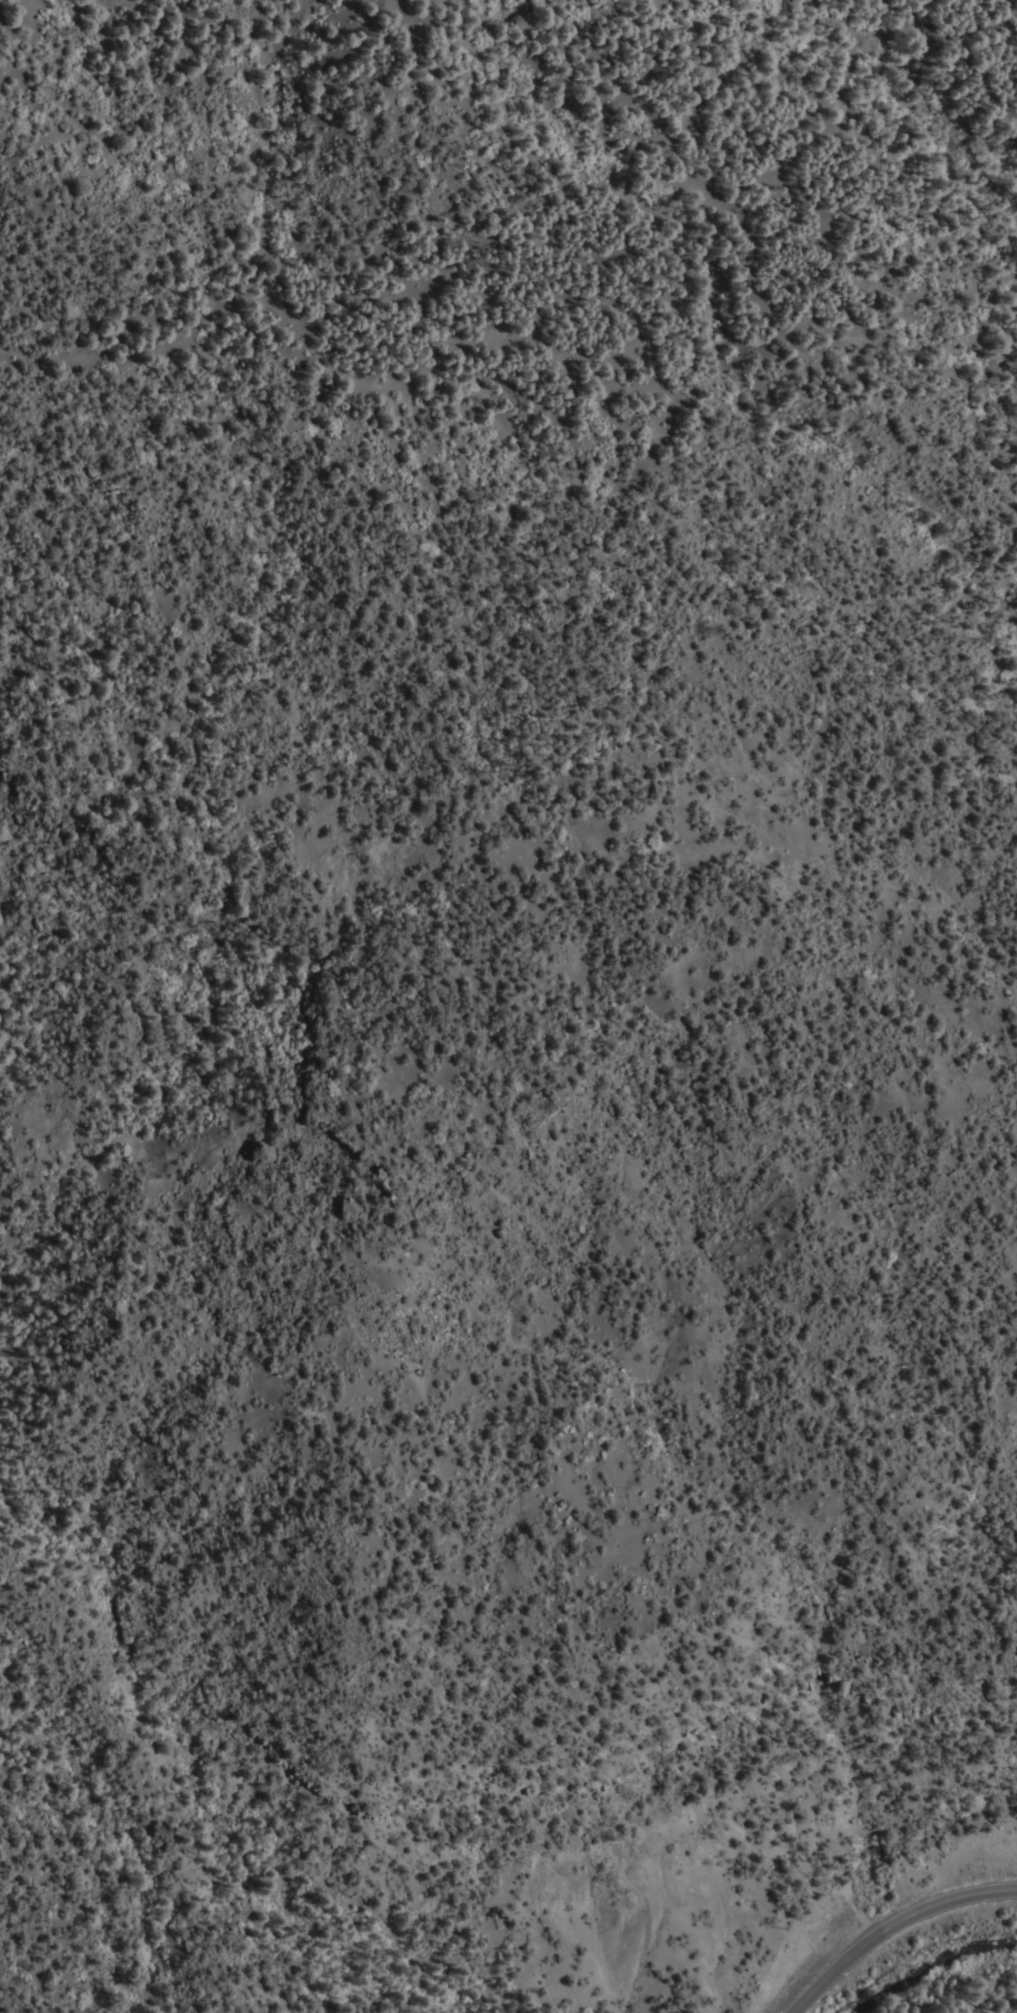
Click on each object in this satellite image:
road: (887, 1922)

